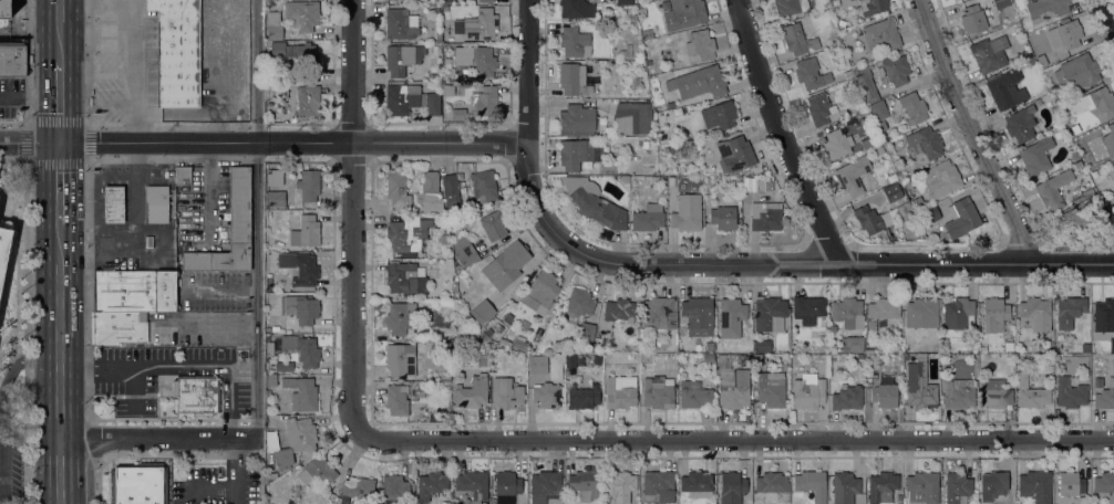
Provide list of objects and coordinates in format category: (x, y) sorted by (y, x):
building: (486, 0)
building: (625, 2)
building: (790, 7)
building: (871, 7)
road: (1110, 8)
building: (4, 9)
building: (576, 9)
building: (1045, 9)
building: (436, 10)
building: (302, 13)
building: (684, 13)
building: (632, 18)
building: (972, 19)
building: (401, 23)
building: (274, 25)
building: (481, 25)
road: (45, 30)
building: (647, 33)
building: (1065, 33)
building: (439, 35)
building: (879, 35)
building: (796, 39)
building: (838, 40)
building: (574, 42)
building: (700, 44)
building: (436, 48)
building: (278, 49)
building: (626, 51)
building: (177, 52)
building: (991, 53)
building: (303, 54)
building: (12, 57)
building: (402, 57)
building: (1041, 60)
road: (30, 61)
road: (87, 61)
building: (484, 61)
building: (894, 70)
road: (72, 71)
road: (530, 71)
building: (848, 73)
building: (1076, 73)
building: (811, 74)
building: (573, 80)
building: (699, 82)
building: (865, 83)
building: (1005, 88)
building: (279, 90)
road: (22, 97)
building: (401, 98)
building: (1045, 98)
building: (308, 101)
building: (485, 101)
road: (45, 102)
building: (1093, 102)
building: (432, 104)
building: (670, 105)
building: (912, 106)
building: (819, 108)
building: (878, 109)
building: (458, 114)
building: (719, 115)
building: (631, 117)
building: (577, 118)
road: (28, 124)
building: (839, 124)
building: (1020, 124)
building: (880, 126)
road: (976, 133)
road: (784, 135)
building: (1108, 140)
road: (22, 143)
road: (58, 143)
traffic signals: (72, 143)
building: (924, 143)
traffic signals: (45, 144)
building: (835, 145)
building: (886, 145)
building: (673, 147)
building: (879, 149)
building: (578, 153)
building: (735, 154)
building: (627, 155)
building: (1035, 155)
building: (1079, 165)
building: (1113, 171)
building: (183, 175)
building: (854, 176)
building: (275, 177)
building: (625, 179)
building: (657, 179)
building: (941, 179)
building: (673, 180)
road: (73, 182)
building: (767, 183)
building: (309, 185)
building: (484, 185)
building: (396, 189)
building: (1053, 189)
building: (430, 192)
building: (1087, 192)
building: (451, 193)
building: (894, 195)
building: (276, 199)
building: (590, 199)
building: (918, 202)
building: (157, 203)
building: (114, 204)
building: (472, 208)
building: (1112, 208)
building: (687, 212)
building: (268, 214)
road: (357, 214)
building: (765, 216)
building: (930, 216)
building: (723, 217)
building: (648, 218)
building: (961, 218)
road: (261, 219)
building: (871, 219)
building: (1072, 220)
building: (494, 225)
building: (229, 230)
building: (306, 232)
building: (408, 234)
road: (560, 235)
building: (443, 239)
building: (148, 242)
building: (3, 250)
railway: (59, 252)
building: (465, 252)
building: (488, 258)
building: (505, 264)
building: (300, 267)
building: (404, 279)
building: (268, 281)
building: (134, 290)
road: (87, 291)
building: (540, 291)
building: (578, 305)
building: (300, 308)
building: (619, 309)
building: (807, 309)
building: (994, 309)
building: (483, 311)
building: (1069, 311)
building: (658, 312)
building: (733, 312)
building: (881, 312)
building: (848, 313)
building: (921, 313)
building: (1035, 313)
building: (770, 314)
building: (466, 315)
building: (699, 315)
building: (399, 316)
building: (508, 317)
building: (958, 317)
building: (1104, 322)
road: (45, 324)
road: (209, 324)
building: (116, 327)
building: (275, 328)
building: (498, 328)
road: (72, 330)
building: (488, 332)
road: (28, 333)
building: (586, 333)
building: (483, 335)
building: (719, 340)
building: (504, 342)
building: (520, 343)
building: (853, 344)
building: (673, 345)
building: (762, 345)
building: (445, 346)
building: (710, 346)
building: (1029, 346)
building: (1051, 347)
building: (301, 349)
building: (981, 349)
building: (869, 350)
building: (630, 356)
building: (862, 356)
building: (905, 357)
building: (708, 358)
building: (726, 358)
building: (870, 358)
building: (400, 359)
building: (597, 359)
building: (607, 359)
building: (757, 359)
building: (435, 360)
building: (570, 360)
building: (537, 365)
building: (283, 366)
road: (168, 368)
building: (873, 376)
building: (270, 380)
building: (1097, 382)
building: (919, 385)
building: (732, 388)
building: (771, 389)
building: (808, 391)
building: (472, 392)
building: (507, 392)
building: (620, 392)
building: (658, 392)
building: (302, 393)
building: (958, 393)
building: (1031, 393)
building: (1070, 393)
building: (196, 395)
building: (546, 395)
building: (694, 395)
building: (994, 395)
building: (416, 396)
building: (885, 396)
building: (1104, 397)
building: (582, 398)
building: (847, 398)
building: (396, 399)
building: (417, 409)
road: (2, 412)
road: (4, 418)
building: (433, 418)
road: (737, 433)
road: (59, 438)
road: (166, 438)
road: (94, 439)
building: (291, 441)
parking lot: (11, 460)
road: (72, 471)
road: (236, 471)
building: (317, 471)
building: (269, 476)
road: (99, 480)
building: (141, 483)
building: (473, 484)
building: (507, 484)
building: (585, 484)
building: (697, 484)
building: (773, 484)
building: (812, 484)
building: (1070, 484)
building: (1105, 484)
building: (432, 485)
building: (544, 485)
building: (620, 485)
building: (993, 485)
building: (1035, 485)
building: (883, 486)
building: (358, 487)
building: (393, 487)
building: (658, 487)
building: (732, 487)
building: (844, 487)
building: (922, 487)
building: (957, 487)
building: (974, 497)
building: (885, 503)

